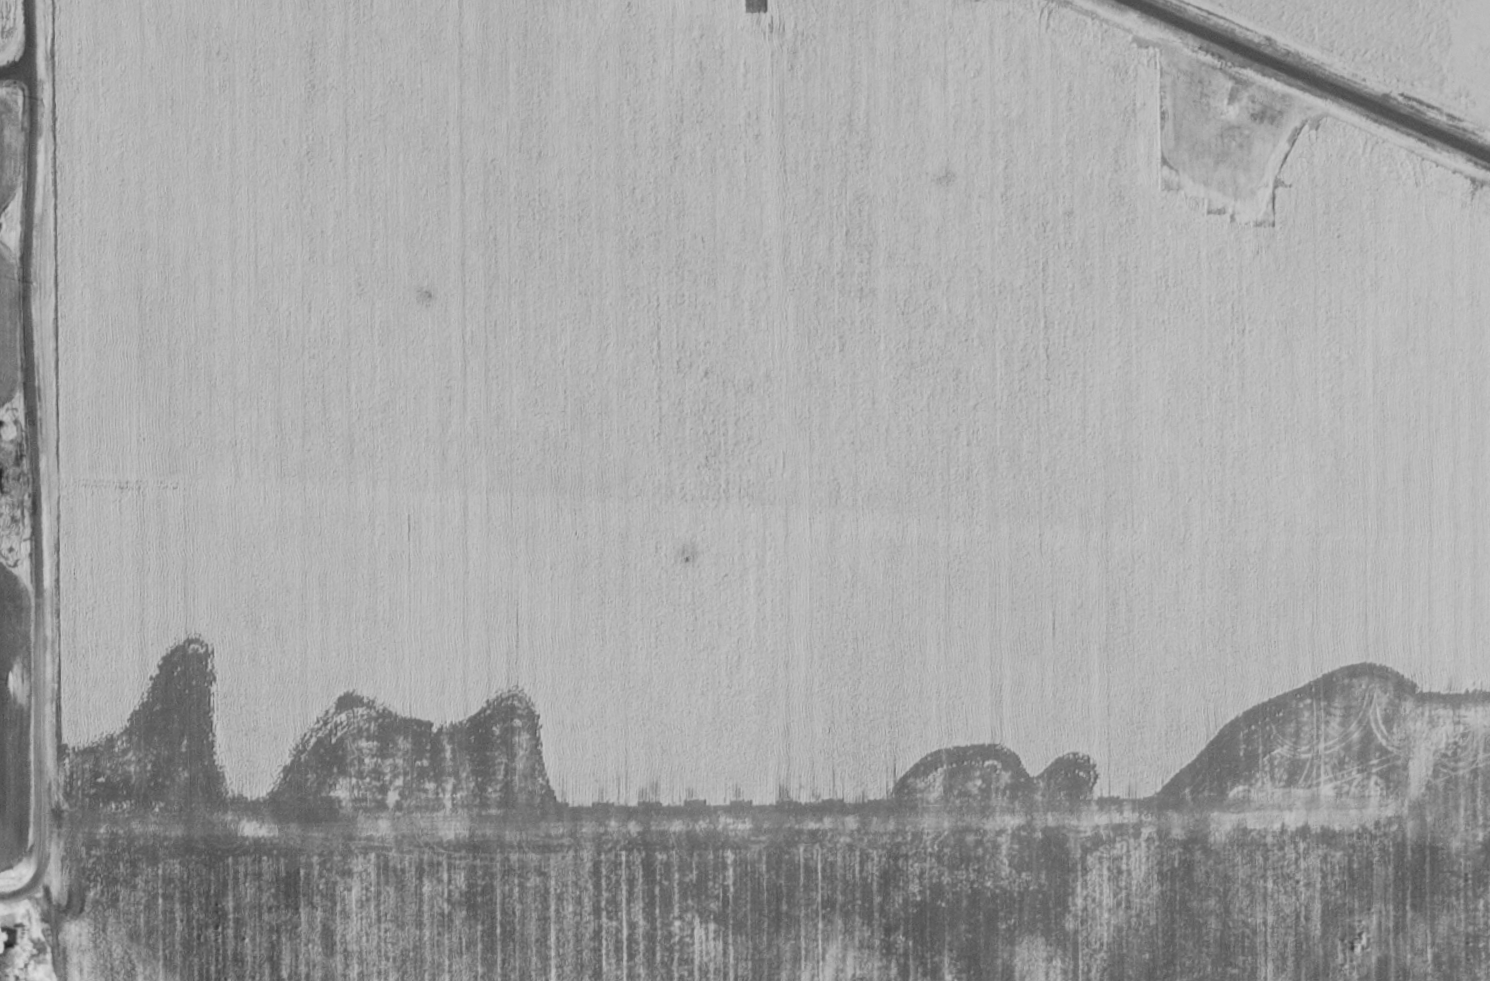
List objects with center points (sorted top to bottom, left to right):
road: (1324, 69)
building: (0, 494)
building: (6, 932)

